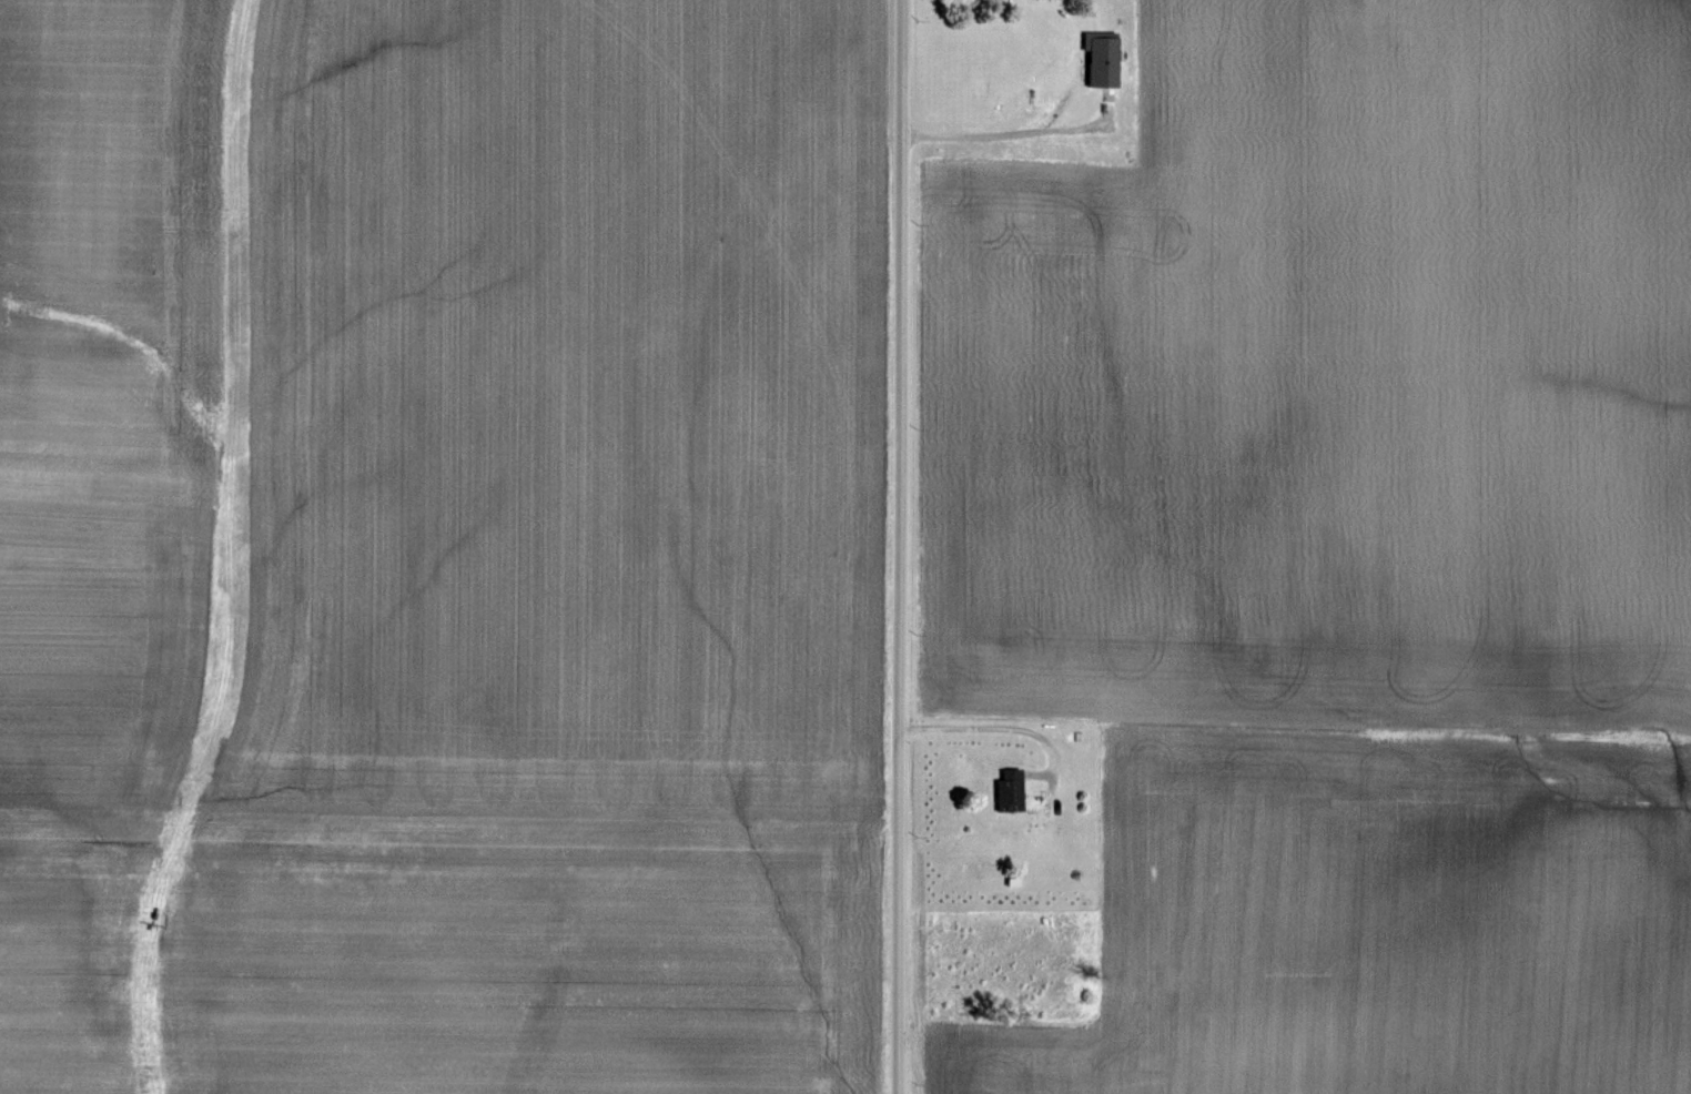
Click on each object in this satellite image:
road: (1009, 136)
road: (898, 546)
road: (990, 730)

